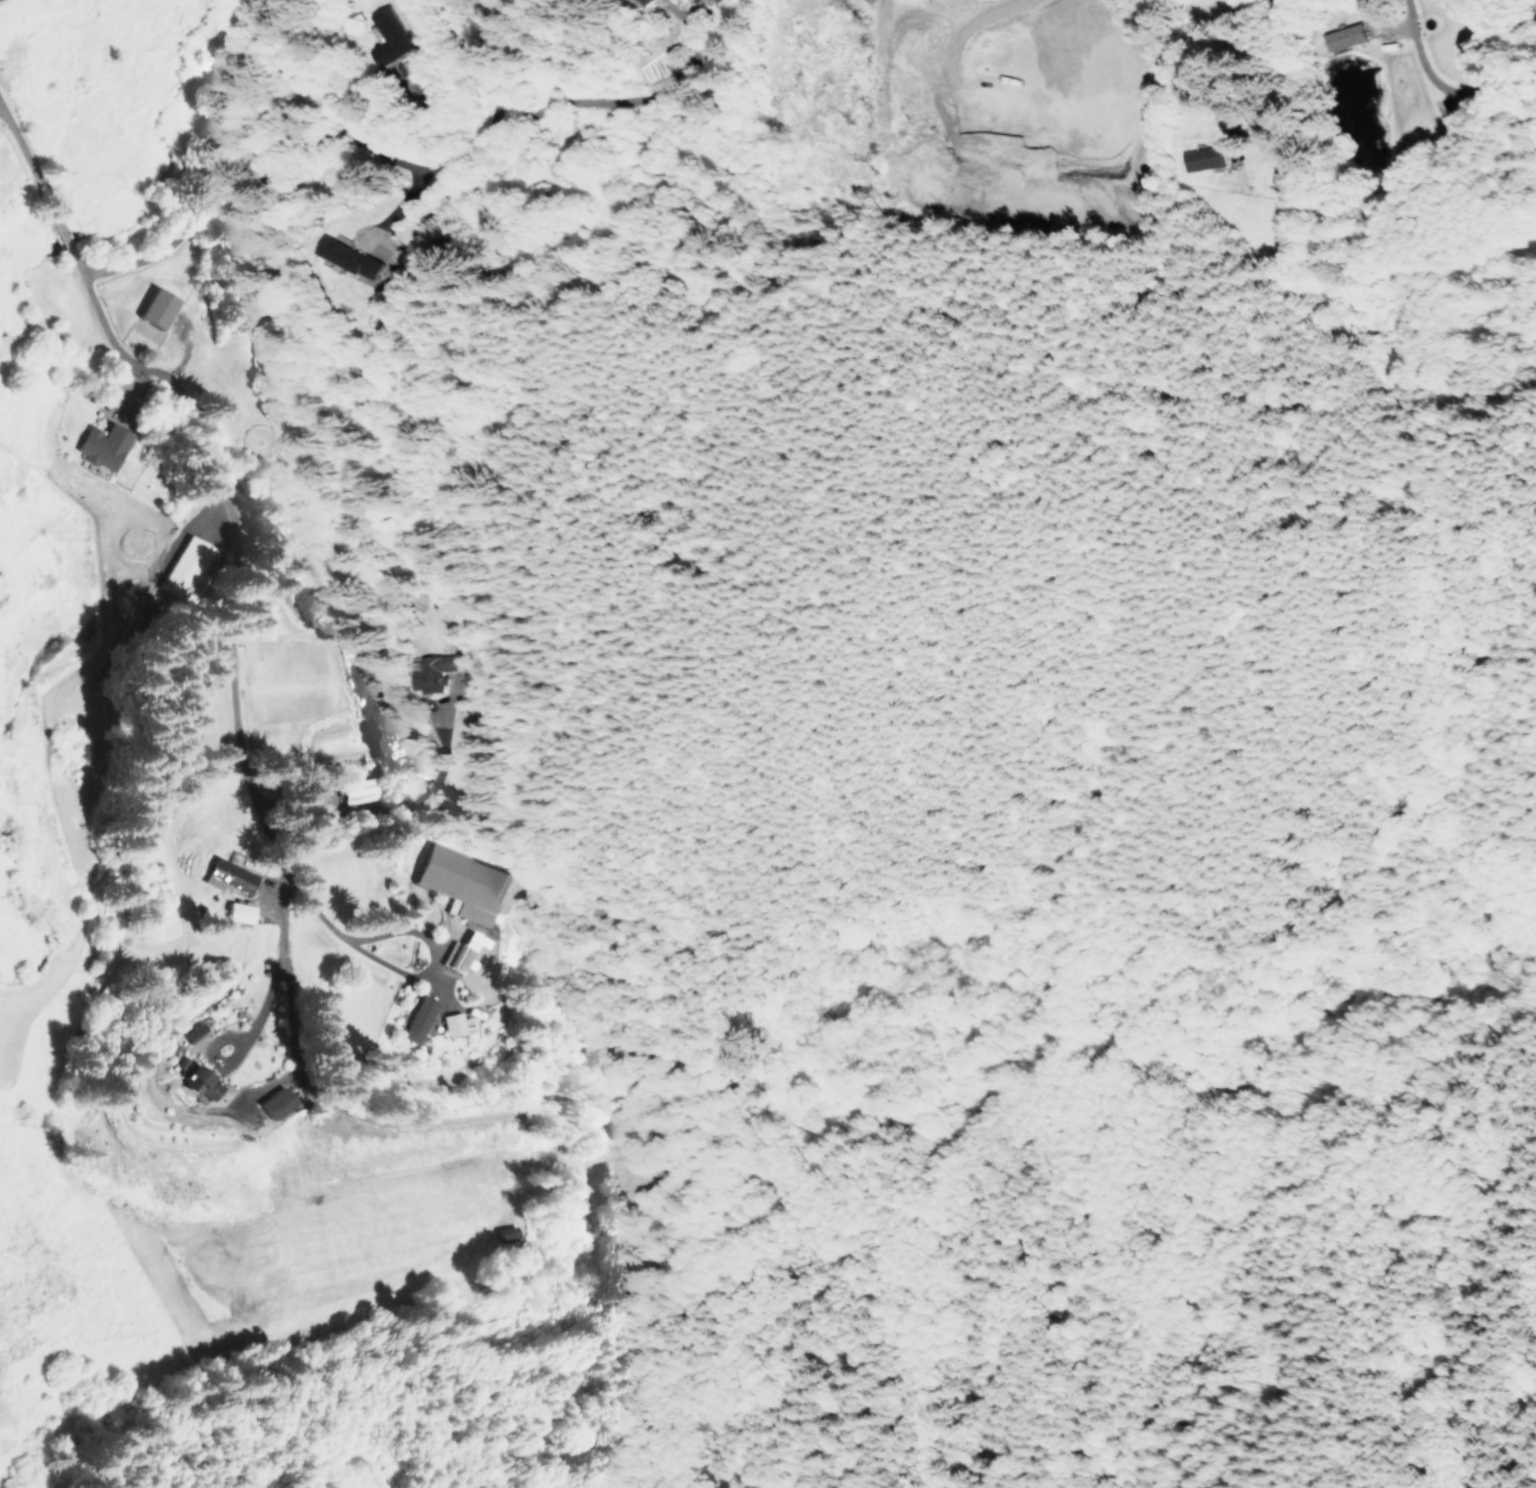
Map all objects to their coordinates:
building: (643, 3)
building: (387, 35)
building: (1344, 36)
building: (1203, 157)
road: (502, 213)
building: (347, 258)
building: (154, 307)
road: (261, 435)
building: (101, 445)
building: (184, 568)
building: (430, 671)
building: (358, 790)
building: (226, 875)
building: (459, 882)
building: (237, 911)
building: (462, 951)
building: (416, 1019)
building: (192, 1032)
building: (196, 1078)
building: (274, 1102)
building: (503, 1233)

